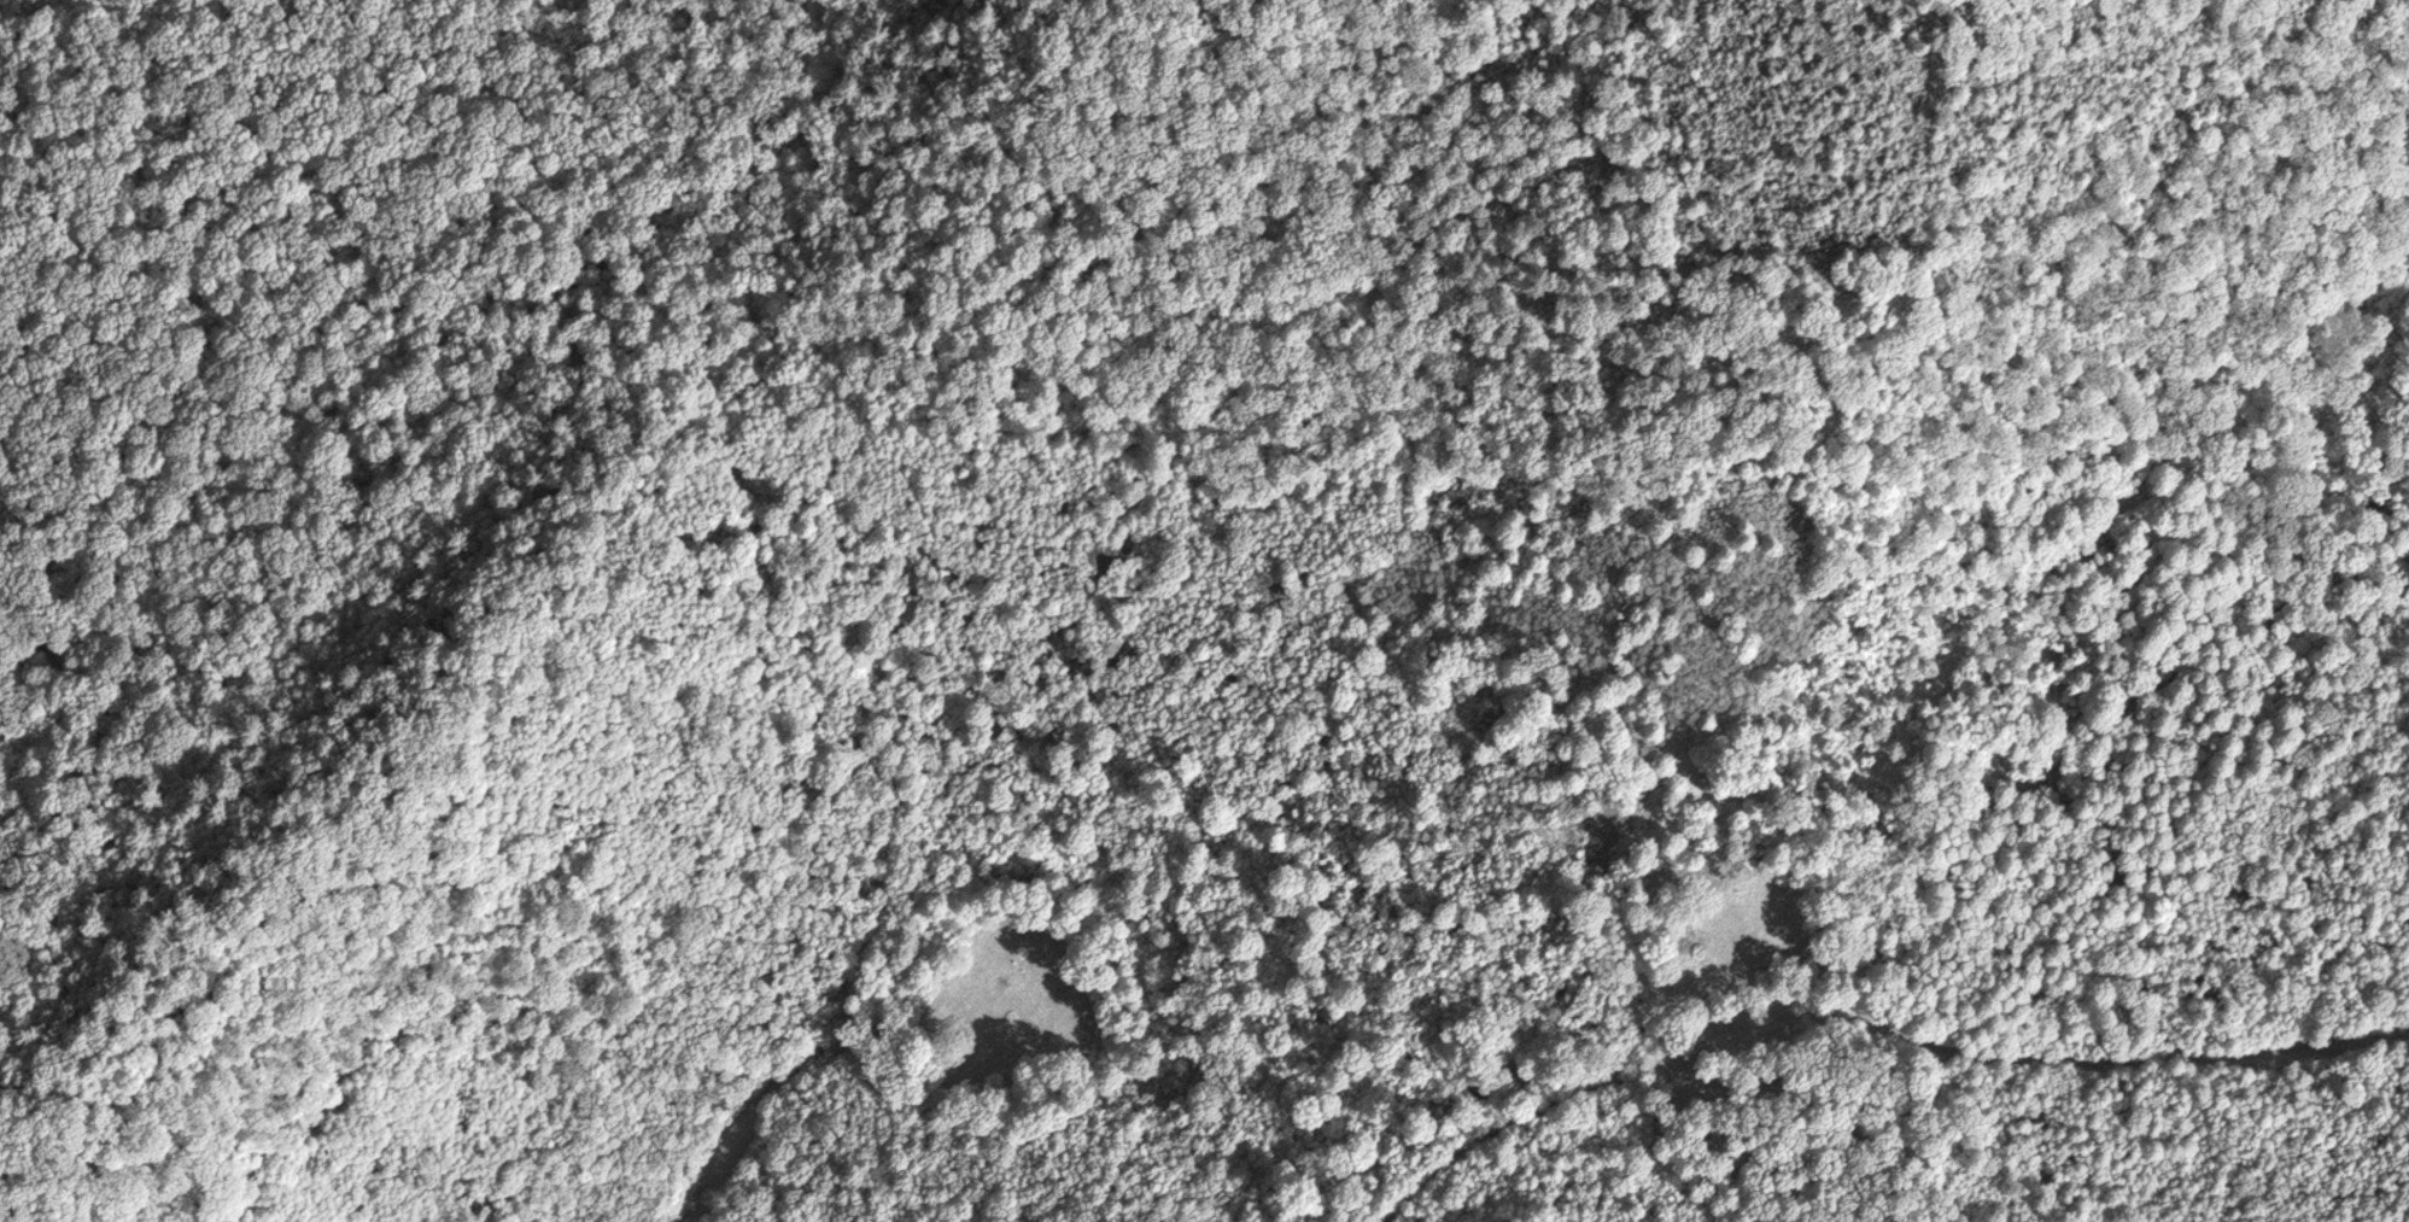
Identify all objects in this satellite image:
road: (1386, 572)
road: (2039, 1063)
road: (1520, 1116)

